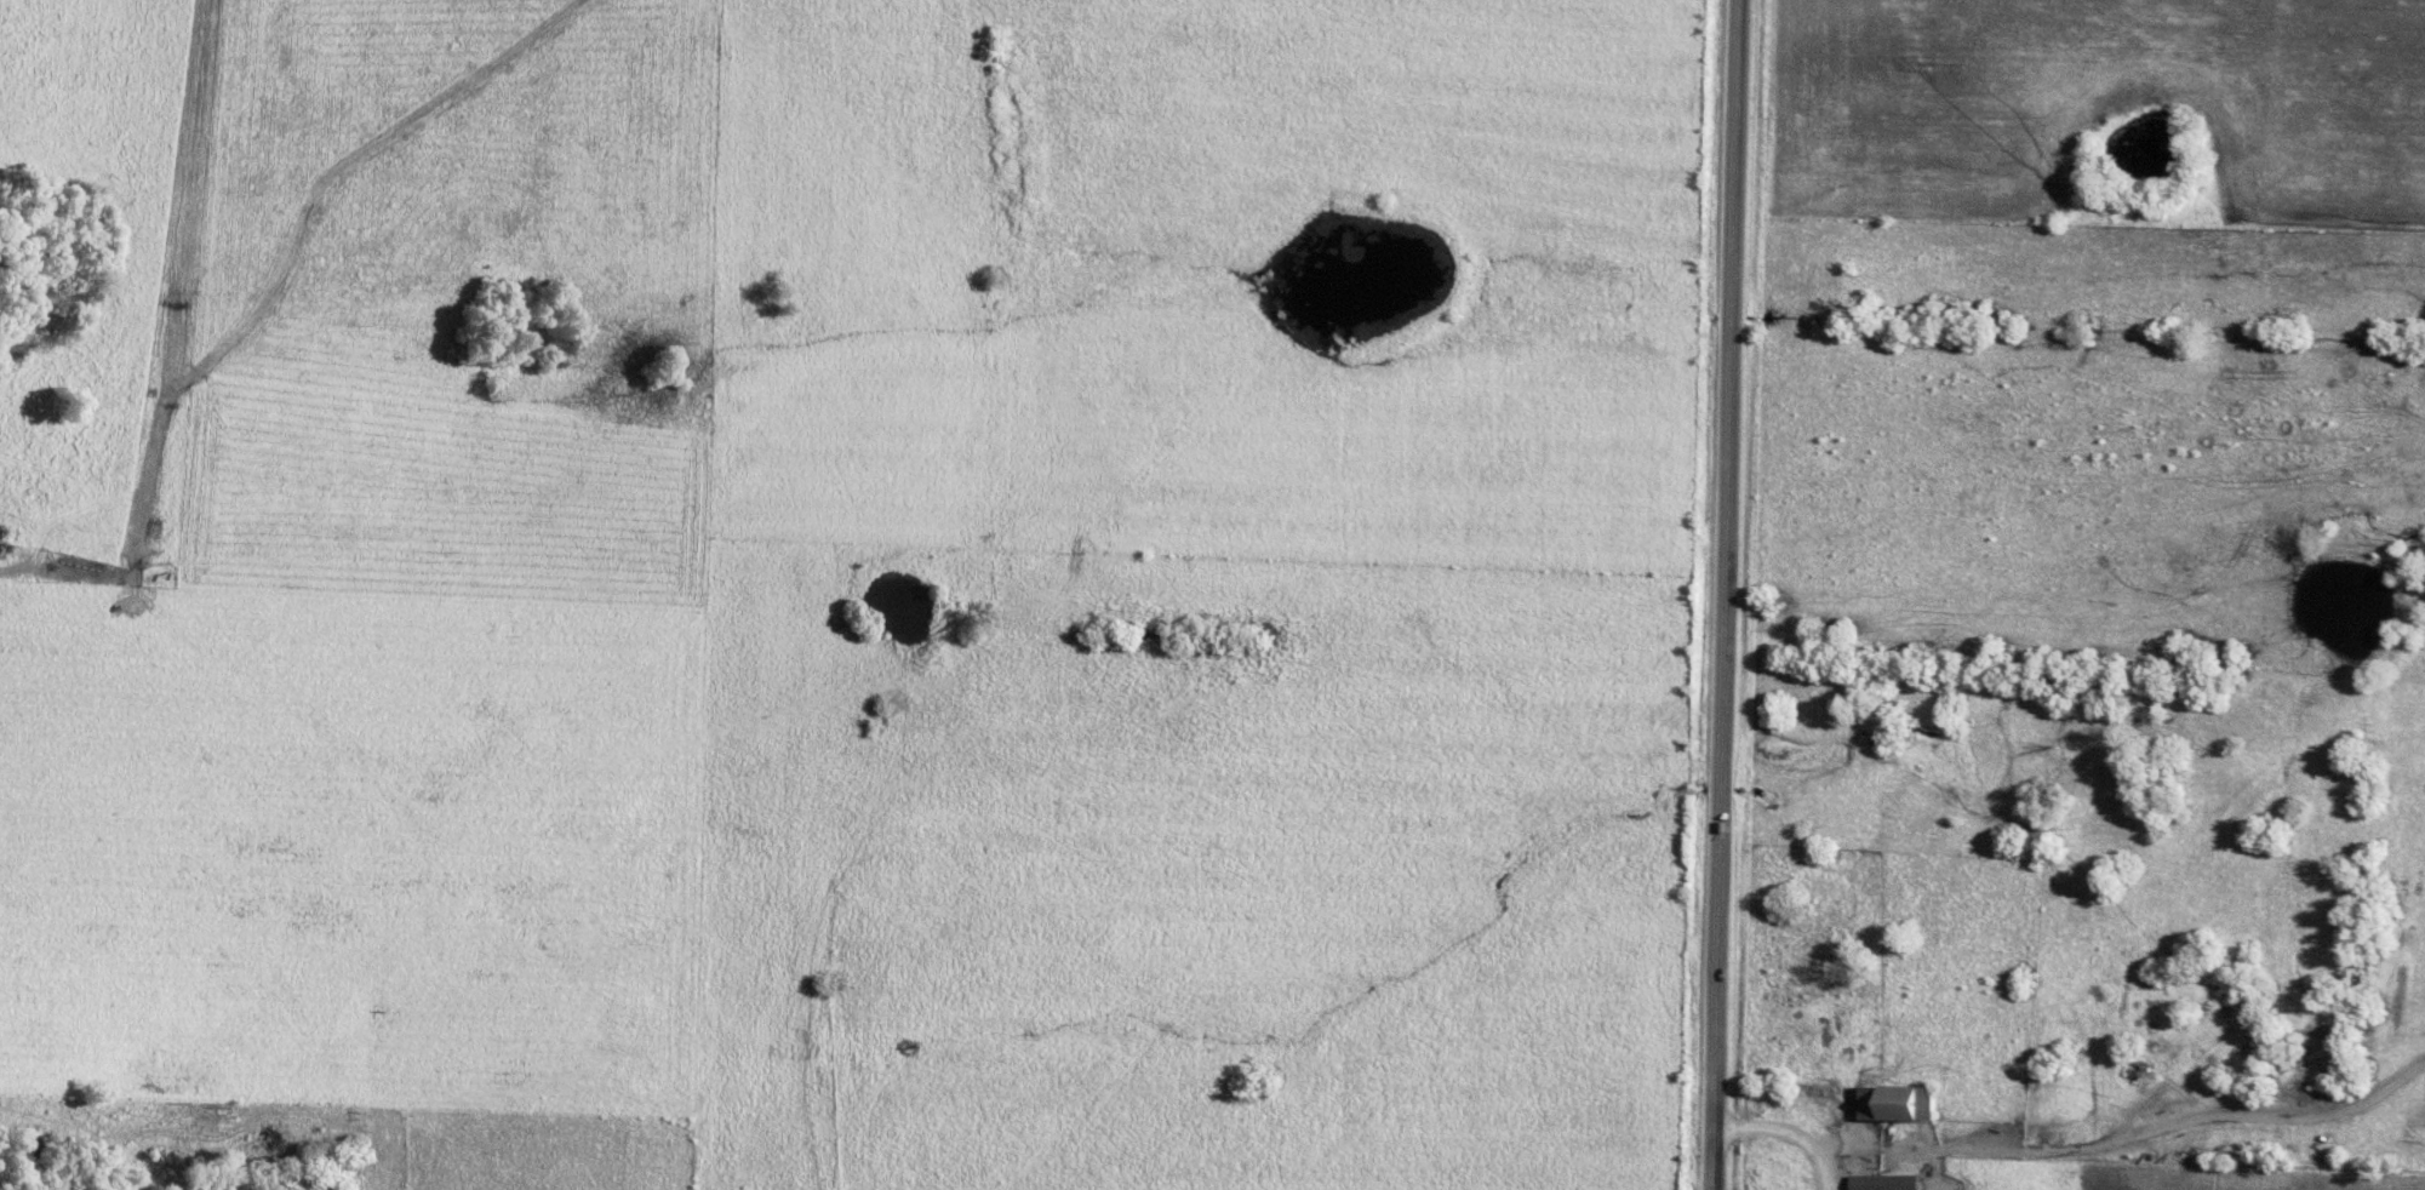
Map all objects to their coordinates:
road: (1723, 594)
building: (1895, 1099)
road: (1788, 1133)
building: (1887, 1180)

